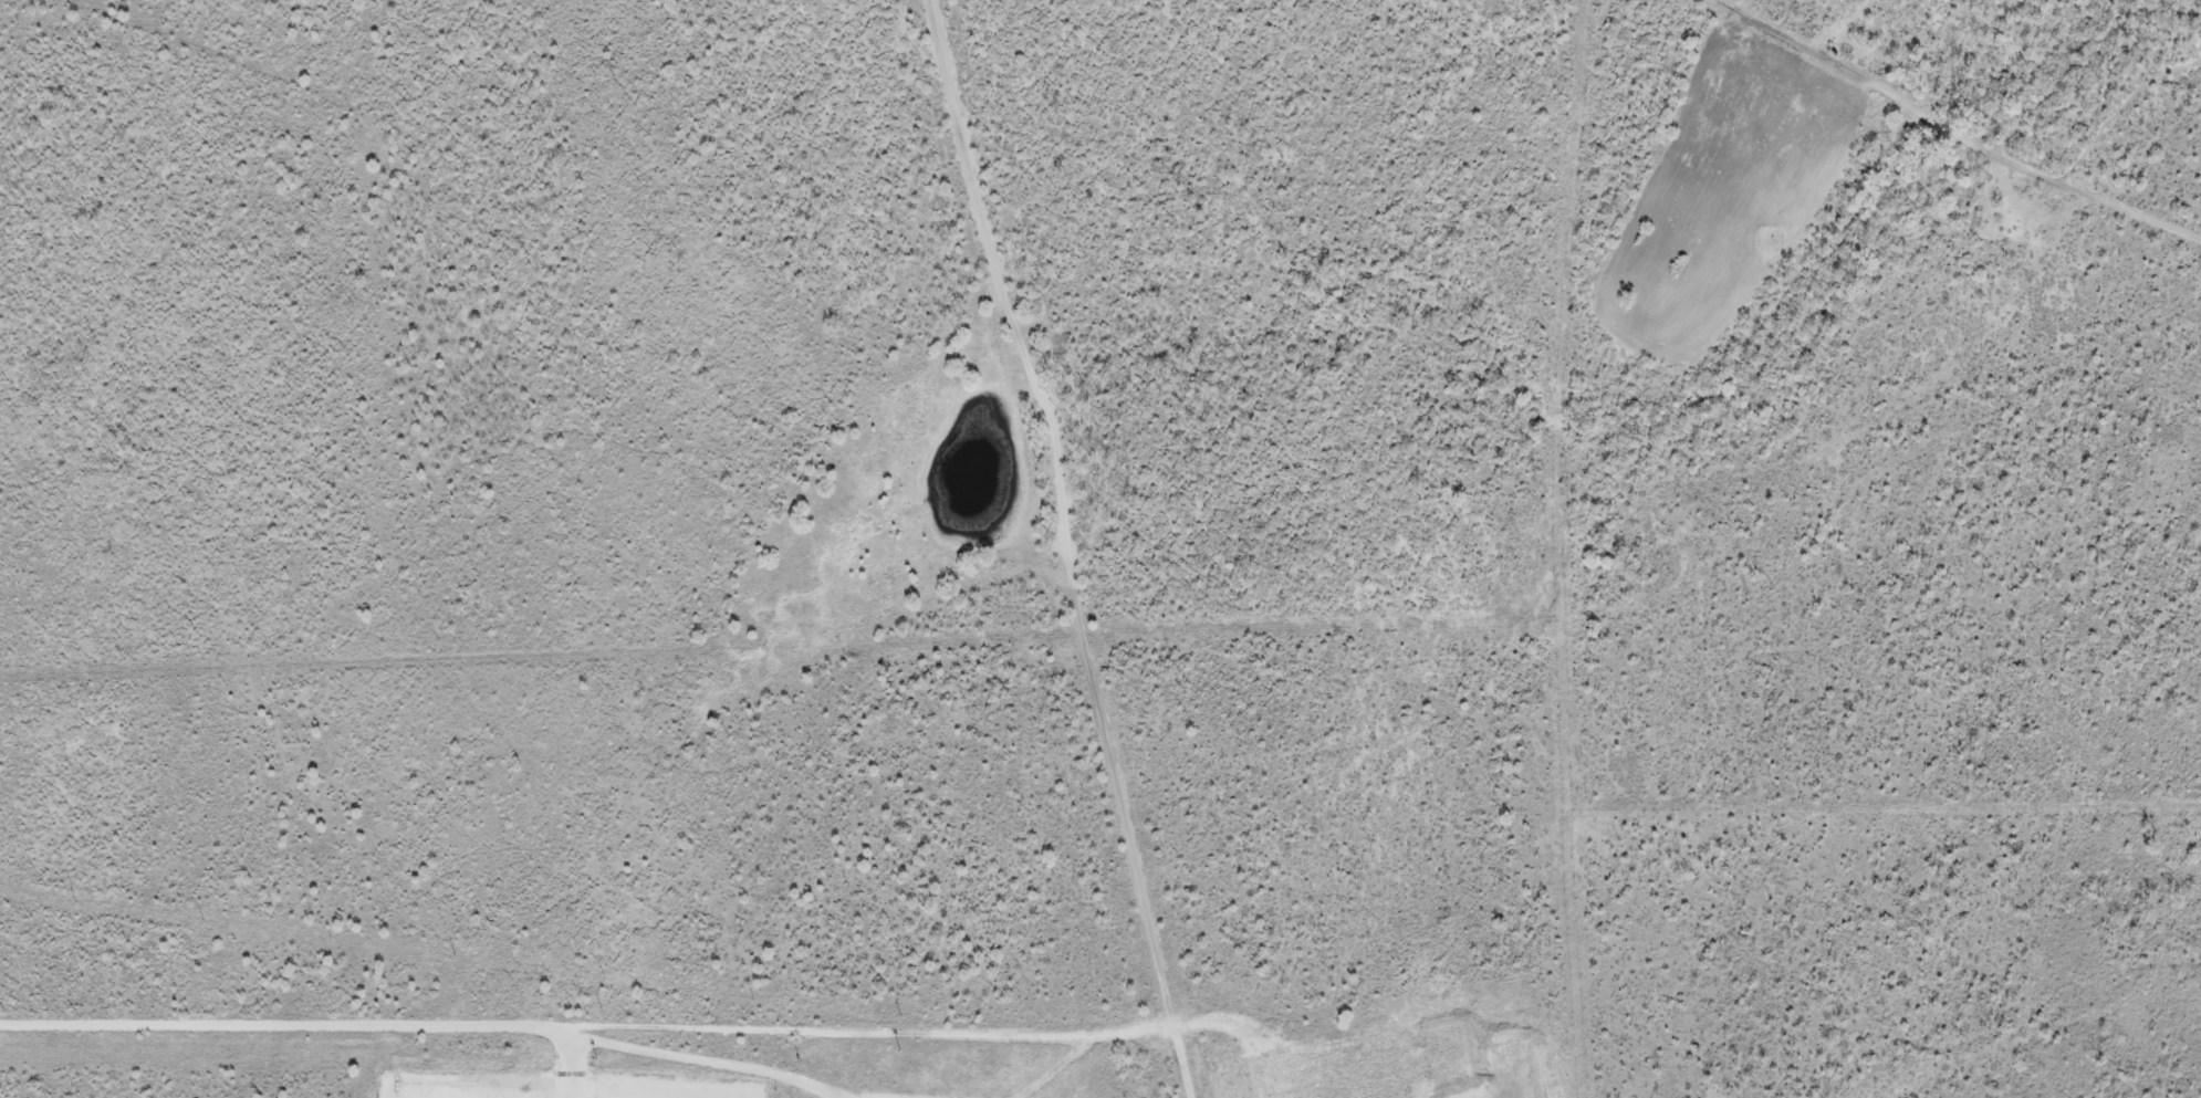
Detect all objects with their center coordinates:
road: (630, 1026)
road: (565, 1062)

